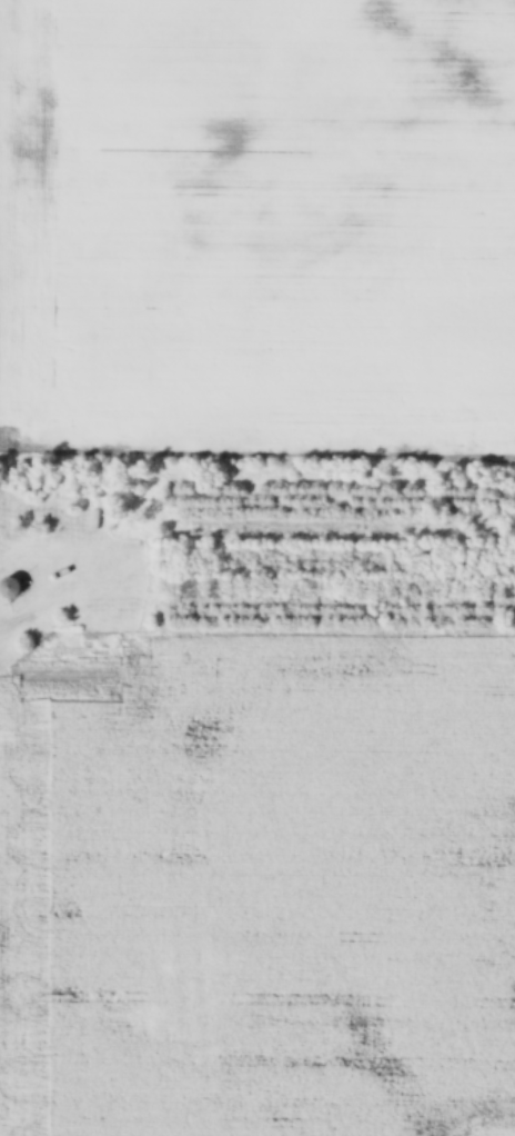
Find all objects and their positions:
building: (11, 587)

